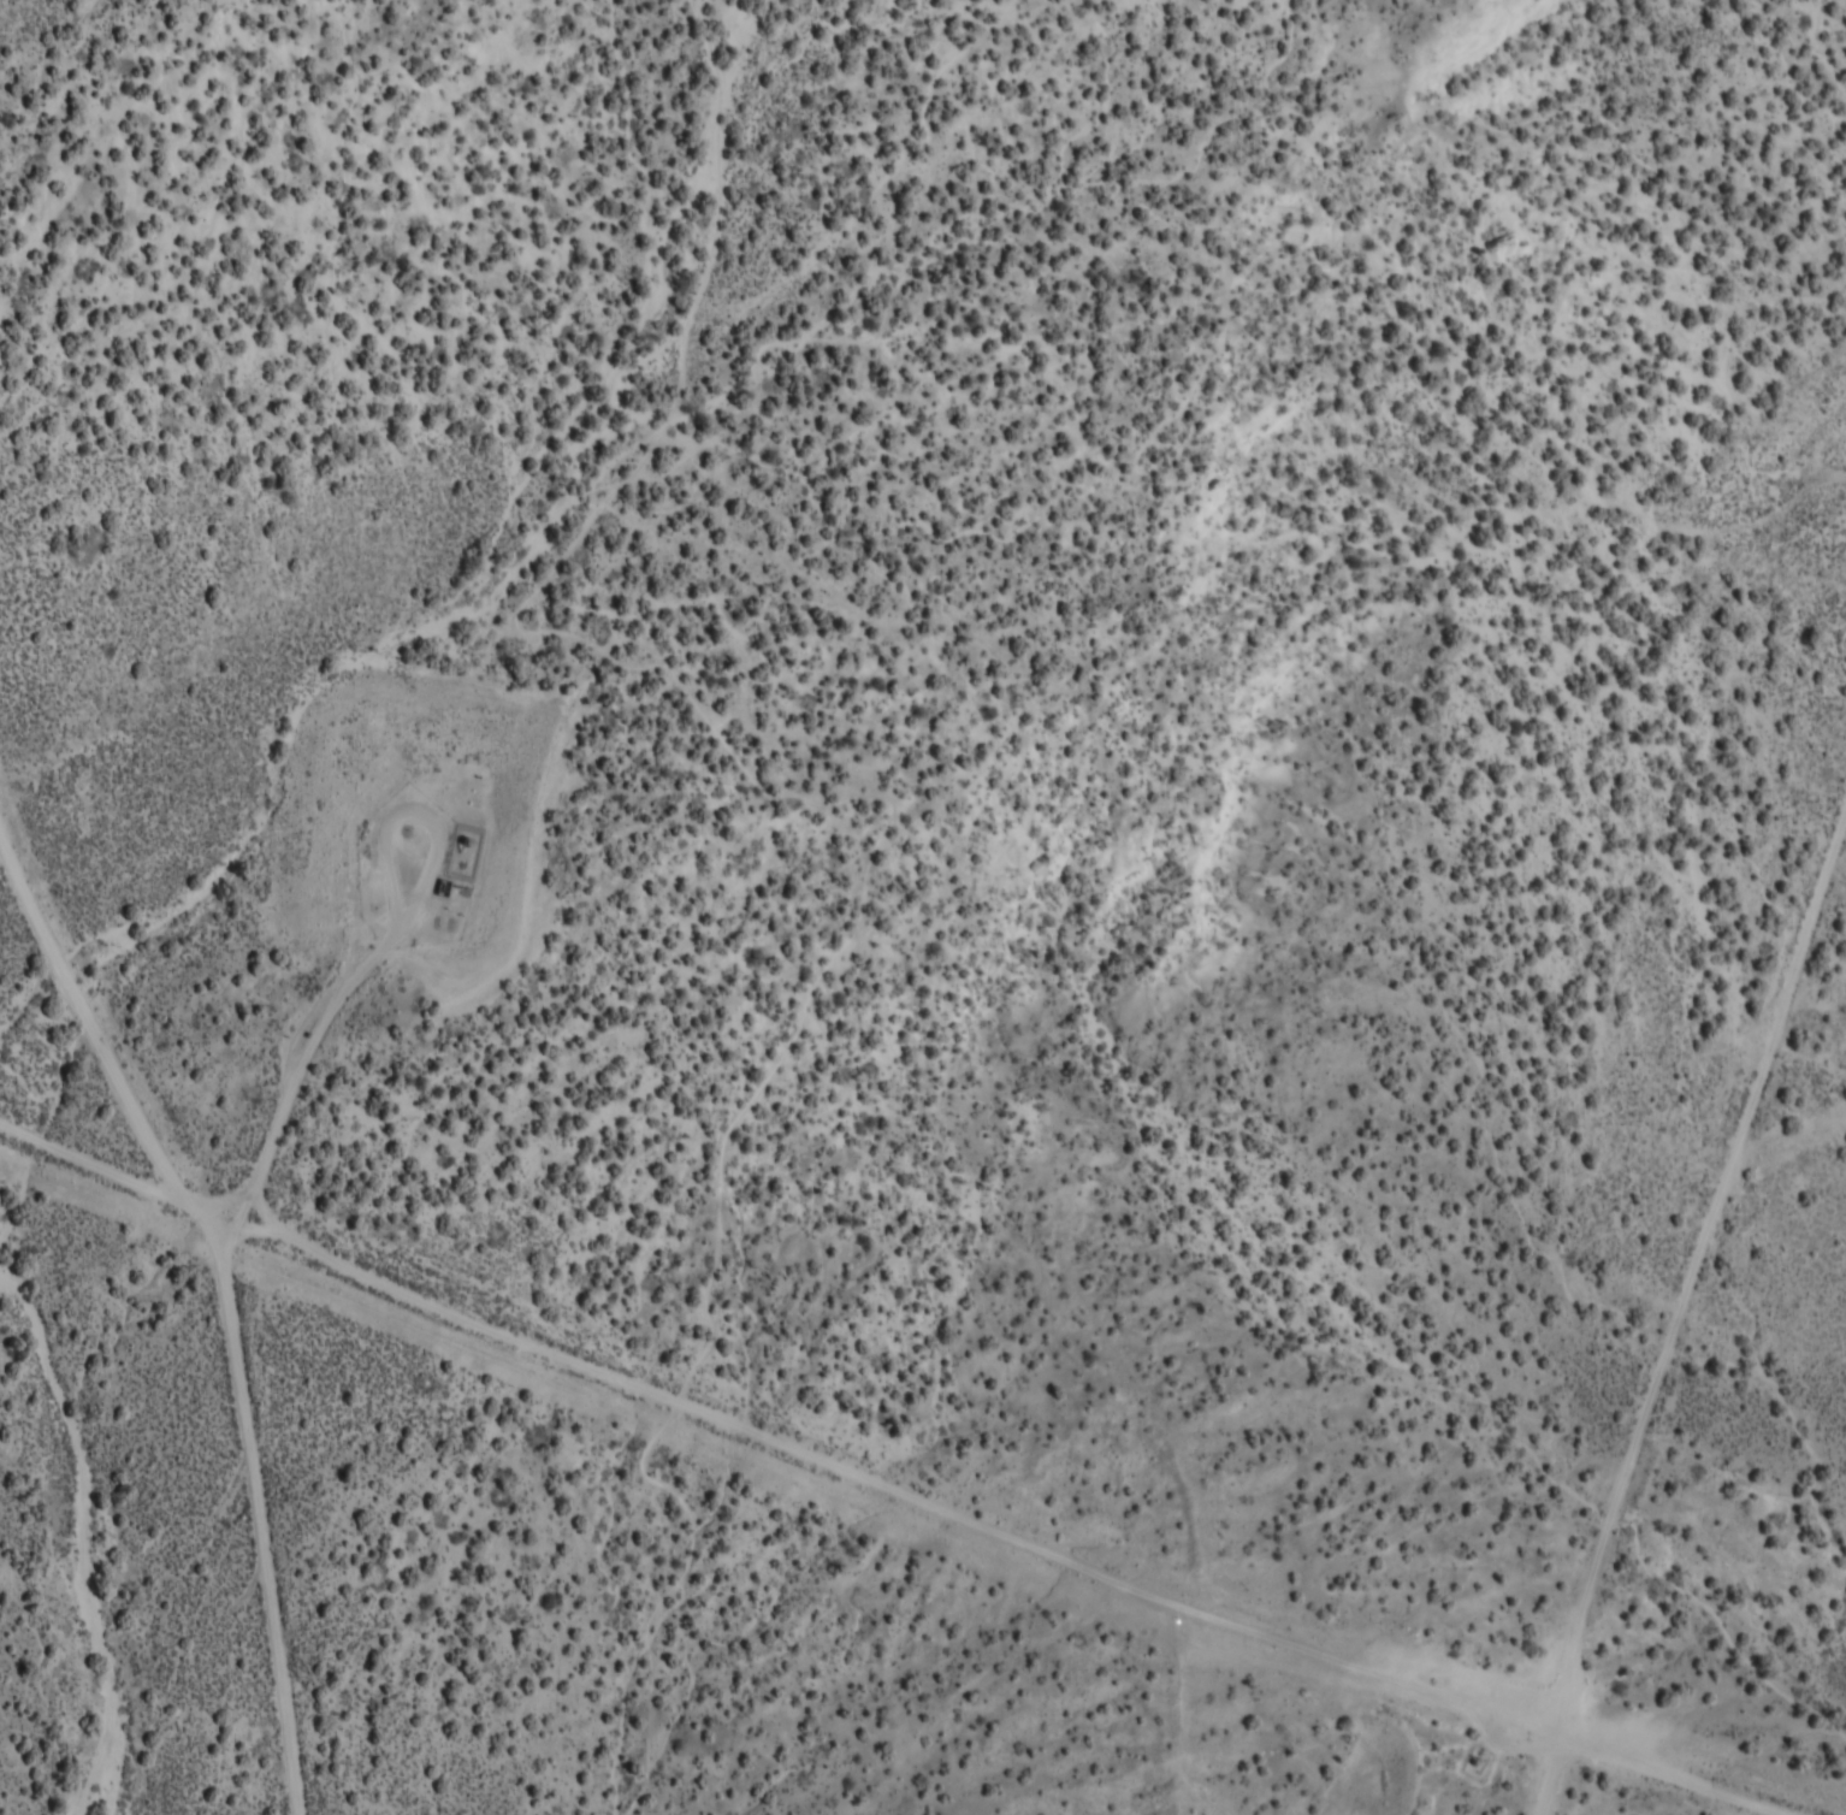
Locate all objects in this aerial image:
road: (1821, 846)
road: (1844, 957)
road: (1770, 1115)
road: (1804, 1134)
road: (93, 1166)
road: (197, 1272)
road: (982, 1527)
river: (73, 1544)

